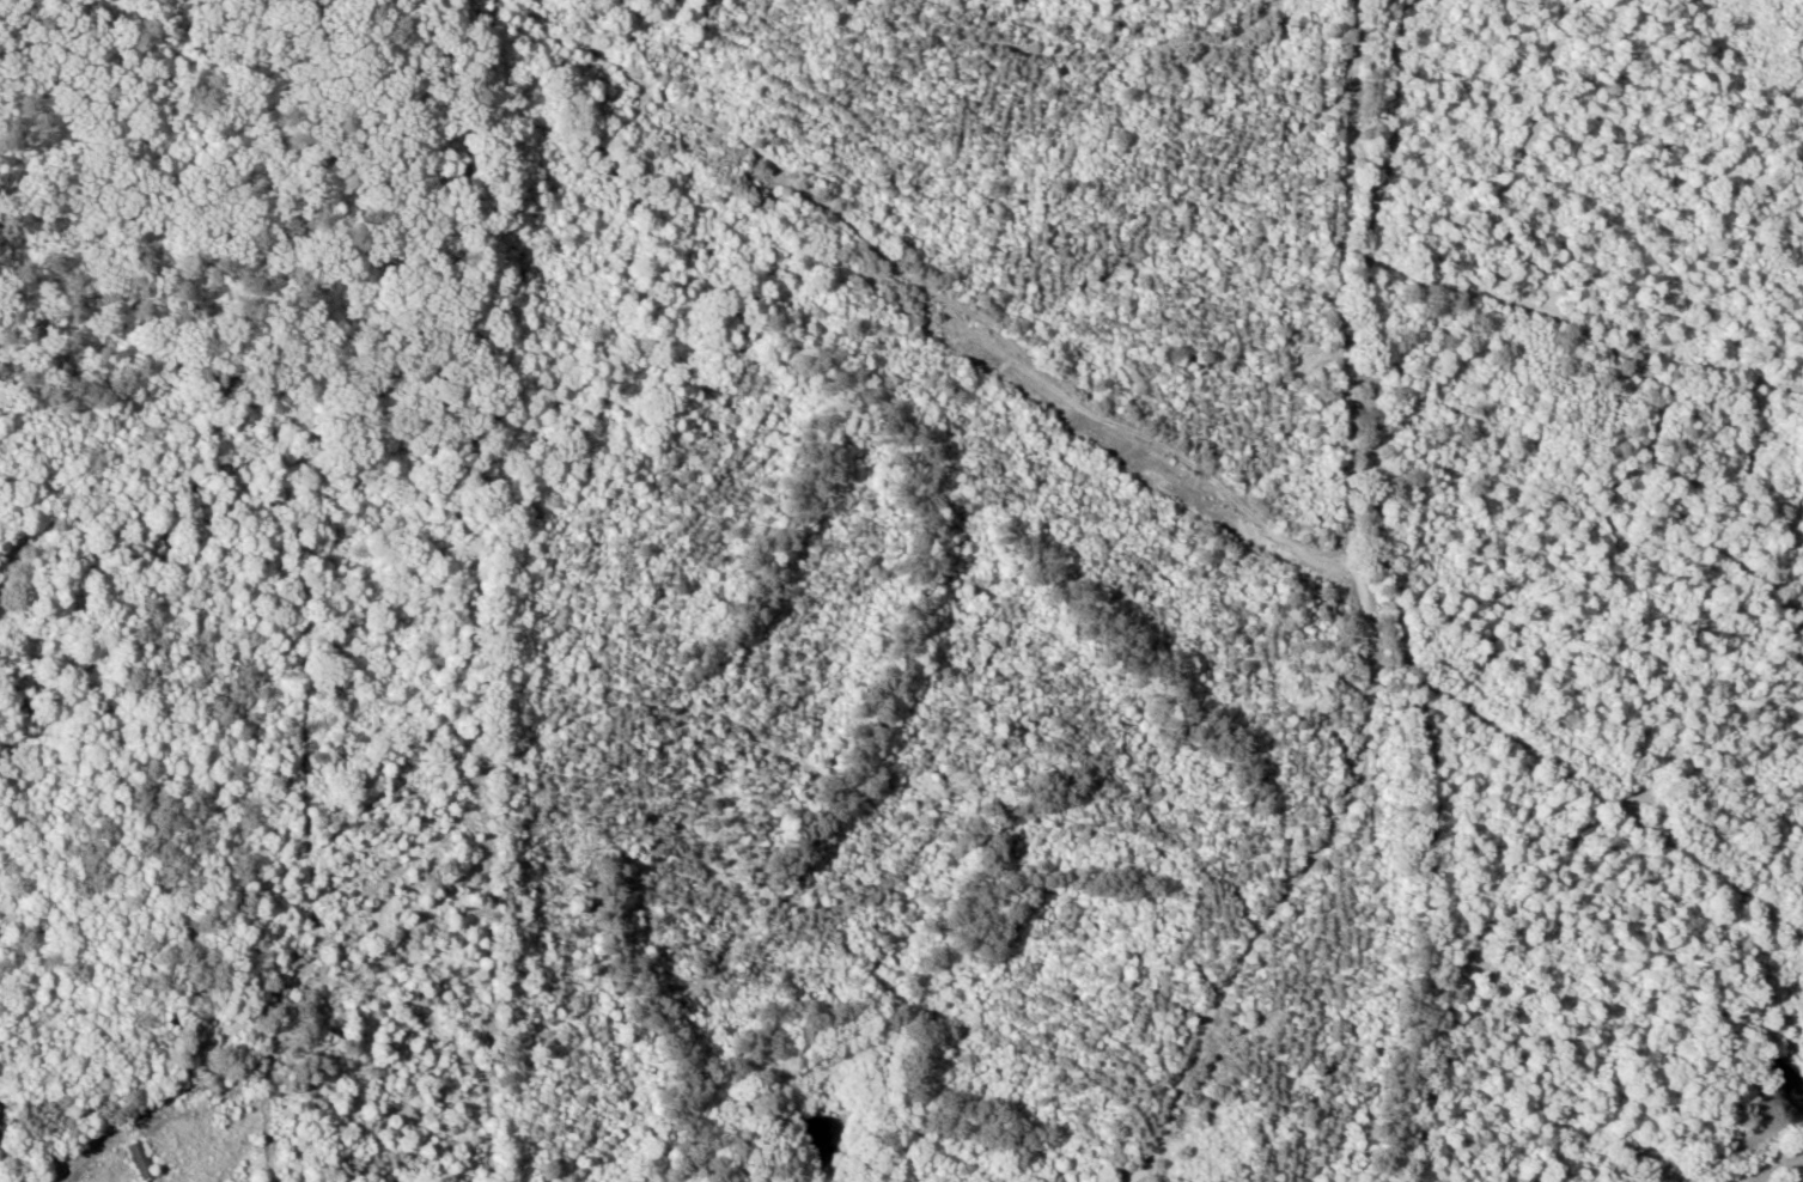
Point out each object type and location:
road: (1588, 336)
road: (1636, 529)
road: (1393, 598)
building: (197, 1086)
building: (144, 1160)
road: (1777, 1169)

